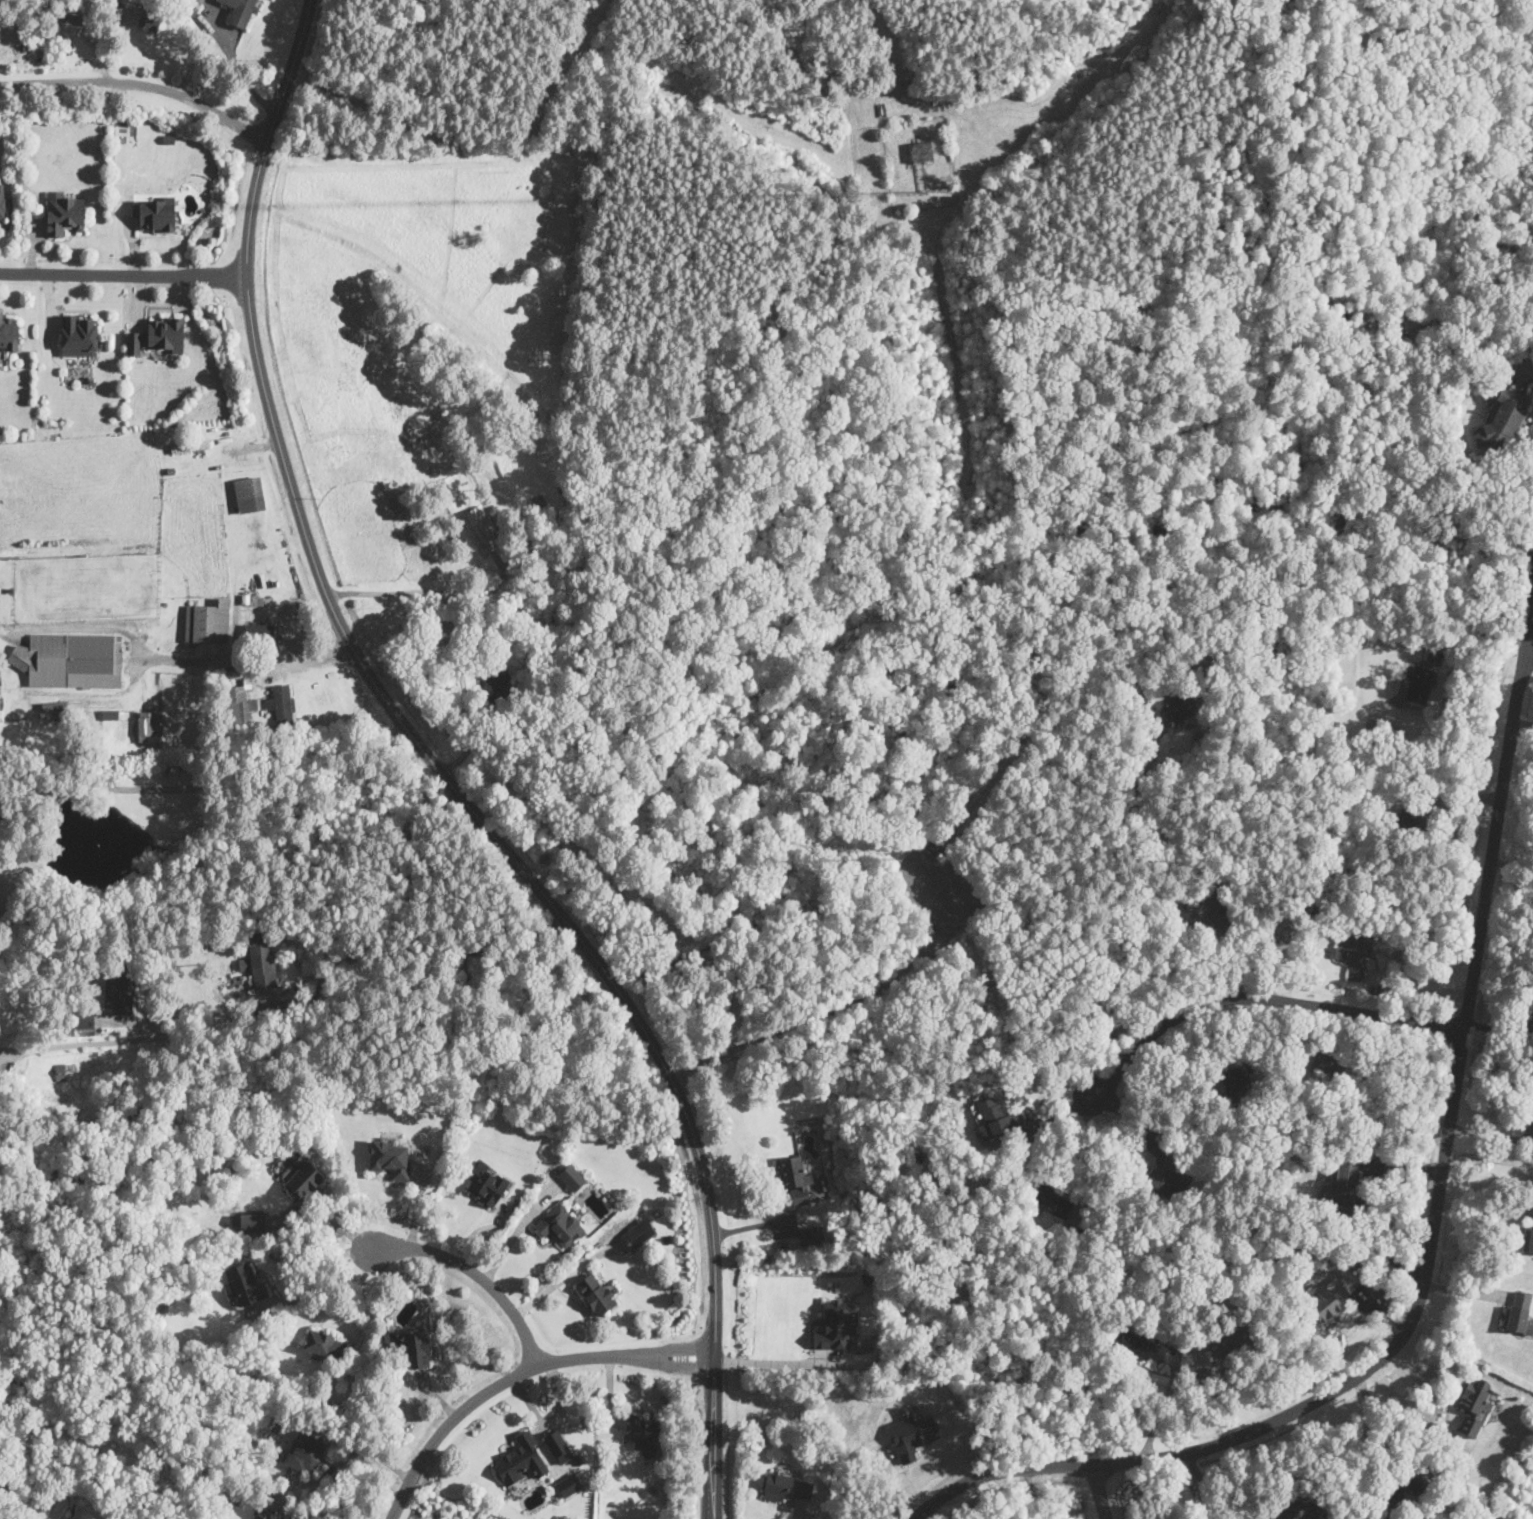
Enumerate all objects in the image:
building: (192, 4)
building: (240, 11)
building: (150, 19)
road: (139, 88)
building: (921, 151)
building: (2, 203)
building: (63, 212)
building: (155, 212)
road: (123, 274)
building: (8, 331)
building: (164, 333)
building: (79, 334)
building: (1502, 418)
building: (190, 446)
building: (249, 493)
road: (1486, 516)
building: (480, 529)
road: (442, 597)
building: (208, 622)
road: (1474, 630)
building: (259, 633)
road: (1529, 651)
building: (71, 659)
road: (249, 664)
building: (1417, 683)
building: (281, 703)
building: (238, 705)
building: (55, 708)
building: (1177, 708)
building: (110, 714)
building: (149, 725)
road: (443, 773)
road: (209, 784)
building: (1414, 820)
road: (1119, 907)
building: (1205, 911)
building: (1355, 955)
building: (261, 958)
building: (246, 971)
road: (1419, 985)
building: (120, 993)
road: (1261, 997)
road: (304, 1007)
building: (86, 1025)
road: (13, 1052)
building: (60, 1070)
building: (1237, 1081)
building: (995, 1117)
road: (1389, 1118)
road: (1488, 1157)
building: (391, 1158)
road: (1084, 1160)
building: (1167, 1174)
building: (305, 1177)
building: (572, 1178)
building: (796, 1179)
building: (486, 1183)
building: (1342, 1188)
building: (1052, 1200)
road: (1356, 1202)
road: (1483, 1208)
building: (252, 1221)
road: (760, 1224)
building: (560, 1225)
road: (1431, 1226)
building: (638, 1233)
building: (808, 1235)
building: (1528, 1239)
road: (476, 1273)
road: (318, 1277)
road: (564, 1277)
building: (243, 1285)
building: (595, 1293)
building: (1331, 1297)
road: (370, 1299)
building: (1519, 1312)
building: (837, 1326)
building: (1233, 1338)
building: (325, 1343)
building: (1140, 1346)
building: (416, 1348)
road: (769, 1361)
road: (519, 1373)
building: (1474, 1405)
road: (1409, 1411)
road: (552, 1423)
building: (642, 1429)
road: (1388, 1429)
building: (912, 1432)
building: (558, 1446)
building: (305, 1452)
building: (522, 1460)
building: (569, 1484)
building: (787, 1484)
road: (1103, 1492)
building: (1300, 1509)
road: (323, 1513)
building: (268, 1514)

